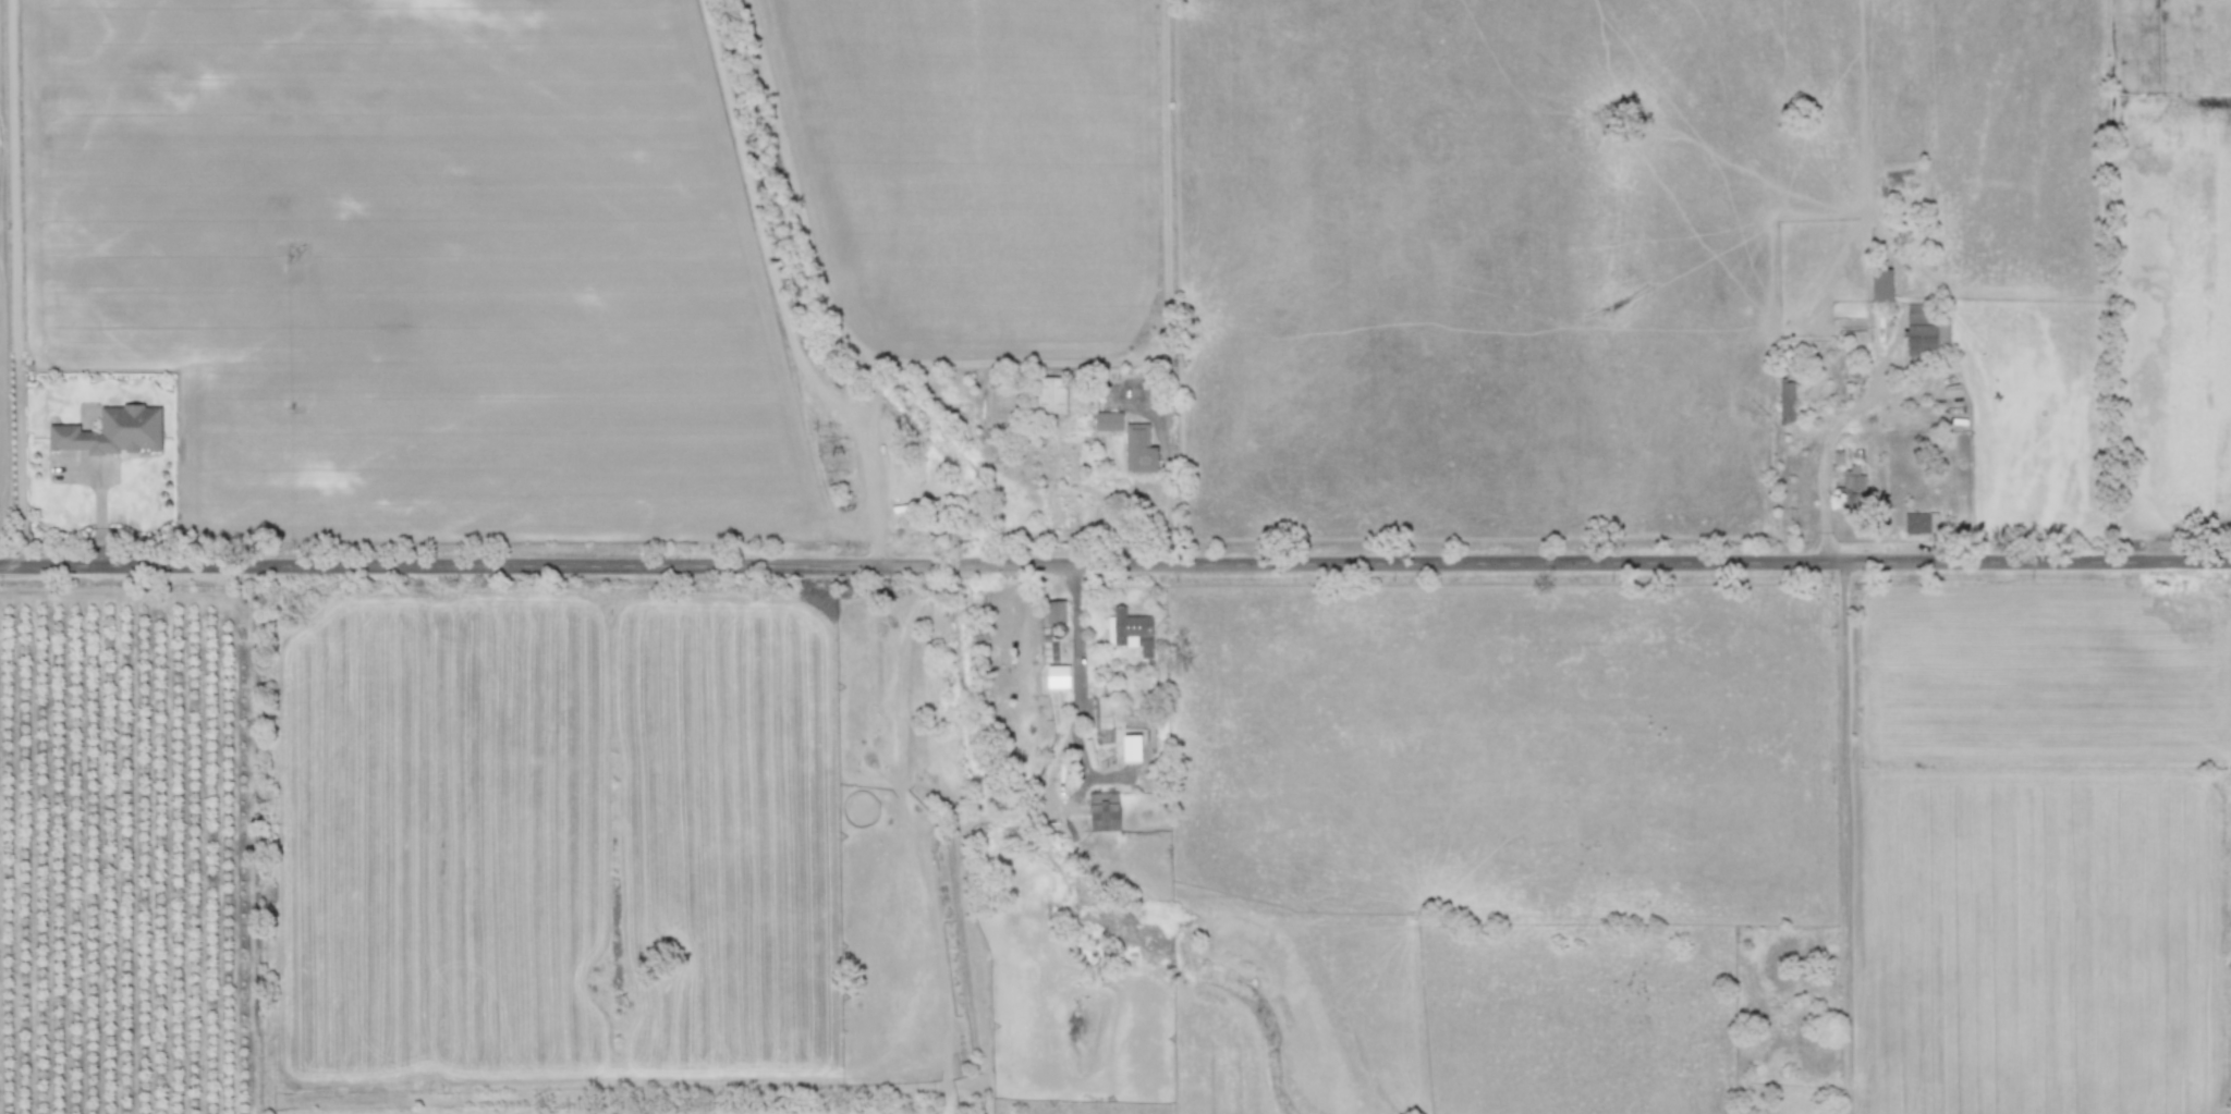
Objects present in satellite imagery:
building: (1880, 283)
building: (1919, 330)
building: (1050, 394)
building: (1785, 401)
building: (1108, 419)
building: (112, 430)
building: (1138, 449)
road: (1169, 480)
building: (1853, 486)
building: (1919, 522)
crop: (1115, 556)
road: (1115, 563)
building: (1054, 611)
building: (1132, 629)
road: (1074, 645)
building: (1058, 669)
building: (1101, 711)
building: (1102, 810)
road: (1844, 836)

